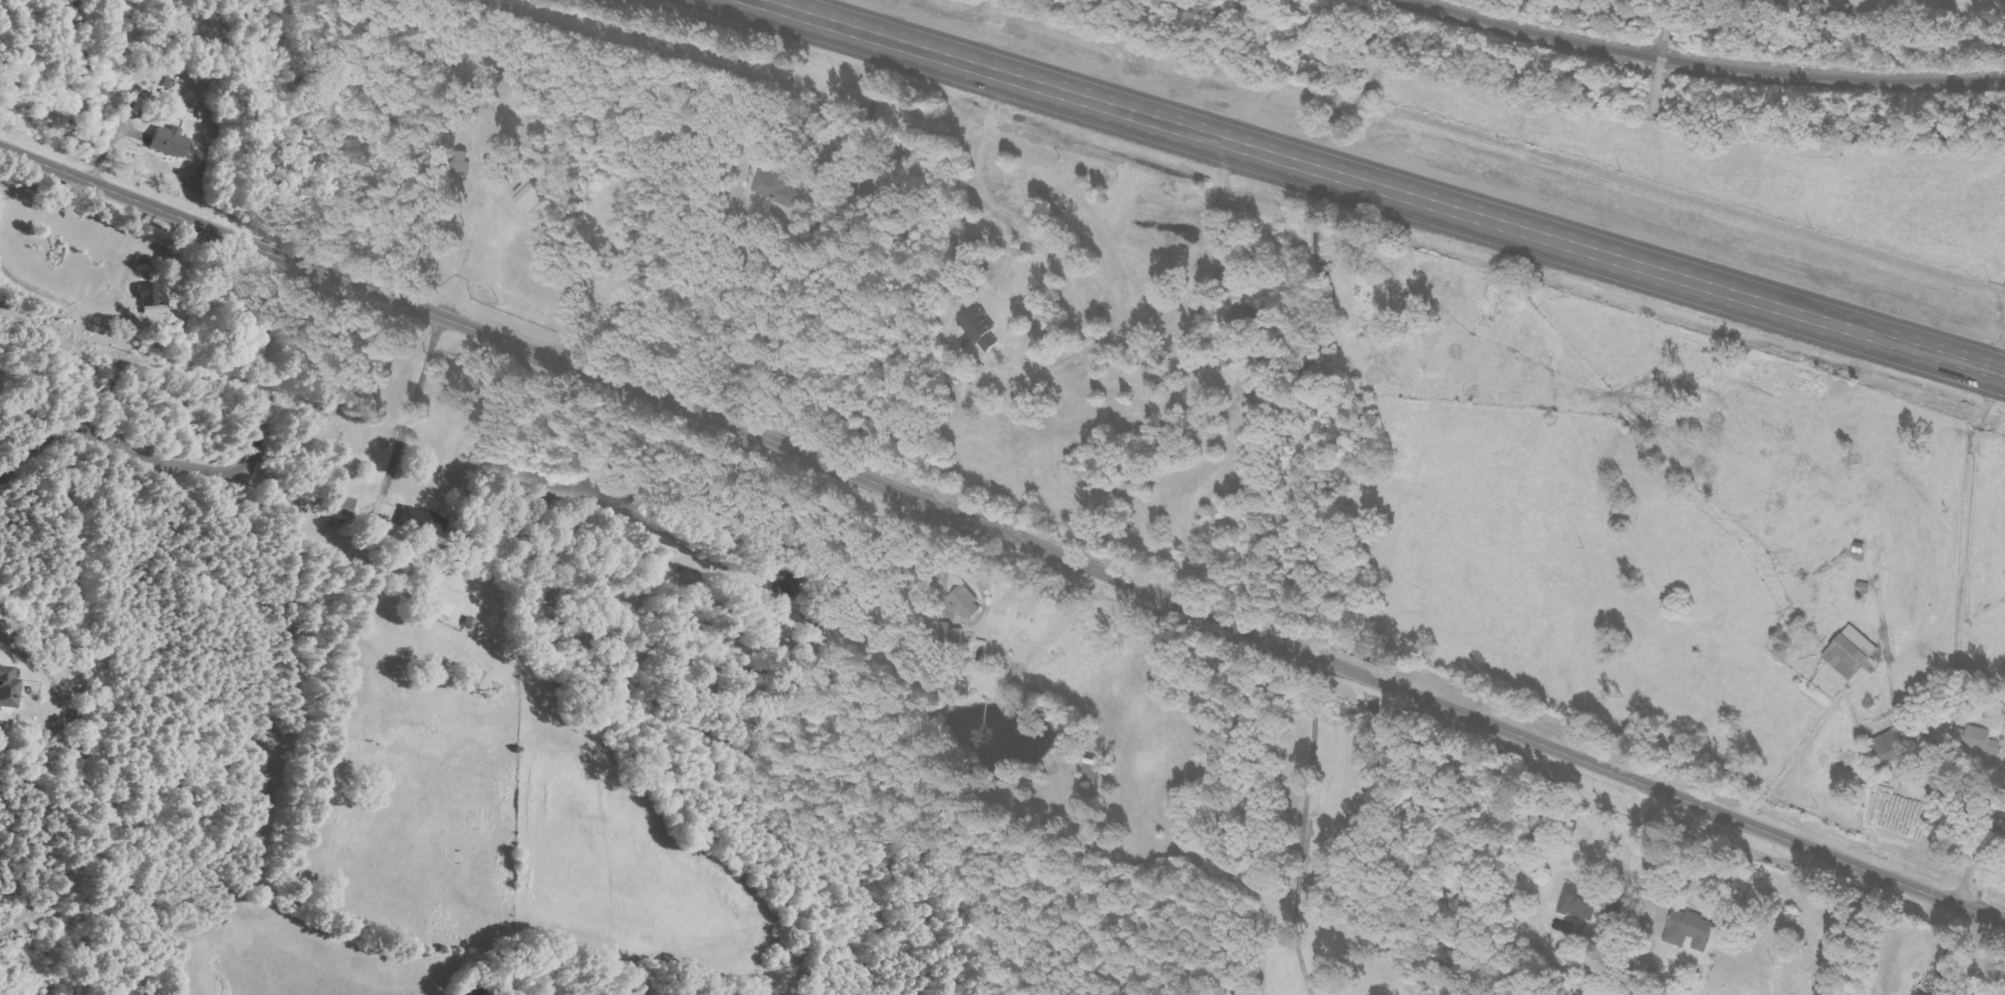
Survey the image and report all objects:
railway: (1710, 67)
building: (172, 141)
building: (772, 187)
road: (1376, 187)
building: (534, 194)
building: (150, 294)
building: (980, 328)
road: (221, 468)
building: (344, 506)
road: (1003, 534)
building: (796, 582)
building: (441, 600)
building: (963, 601)
building: (1847, 652)
building: (9, 687)
building: (1974, 740)
building: (1884, 743)
road: (1300, 827)
building: (1574, 901)
building: (1687, 930)
road: (1856, 935)

